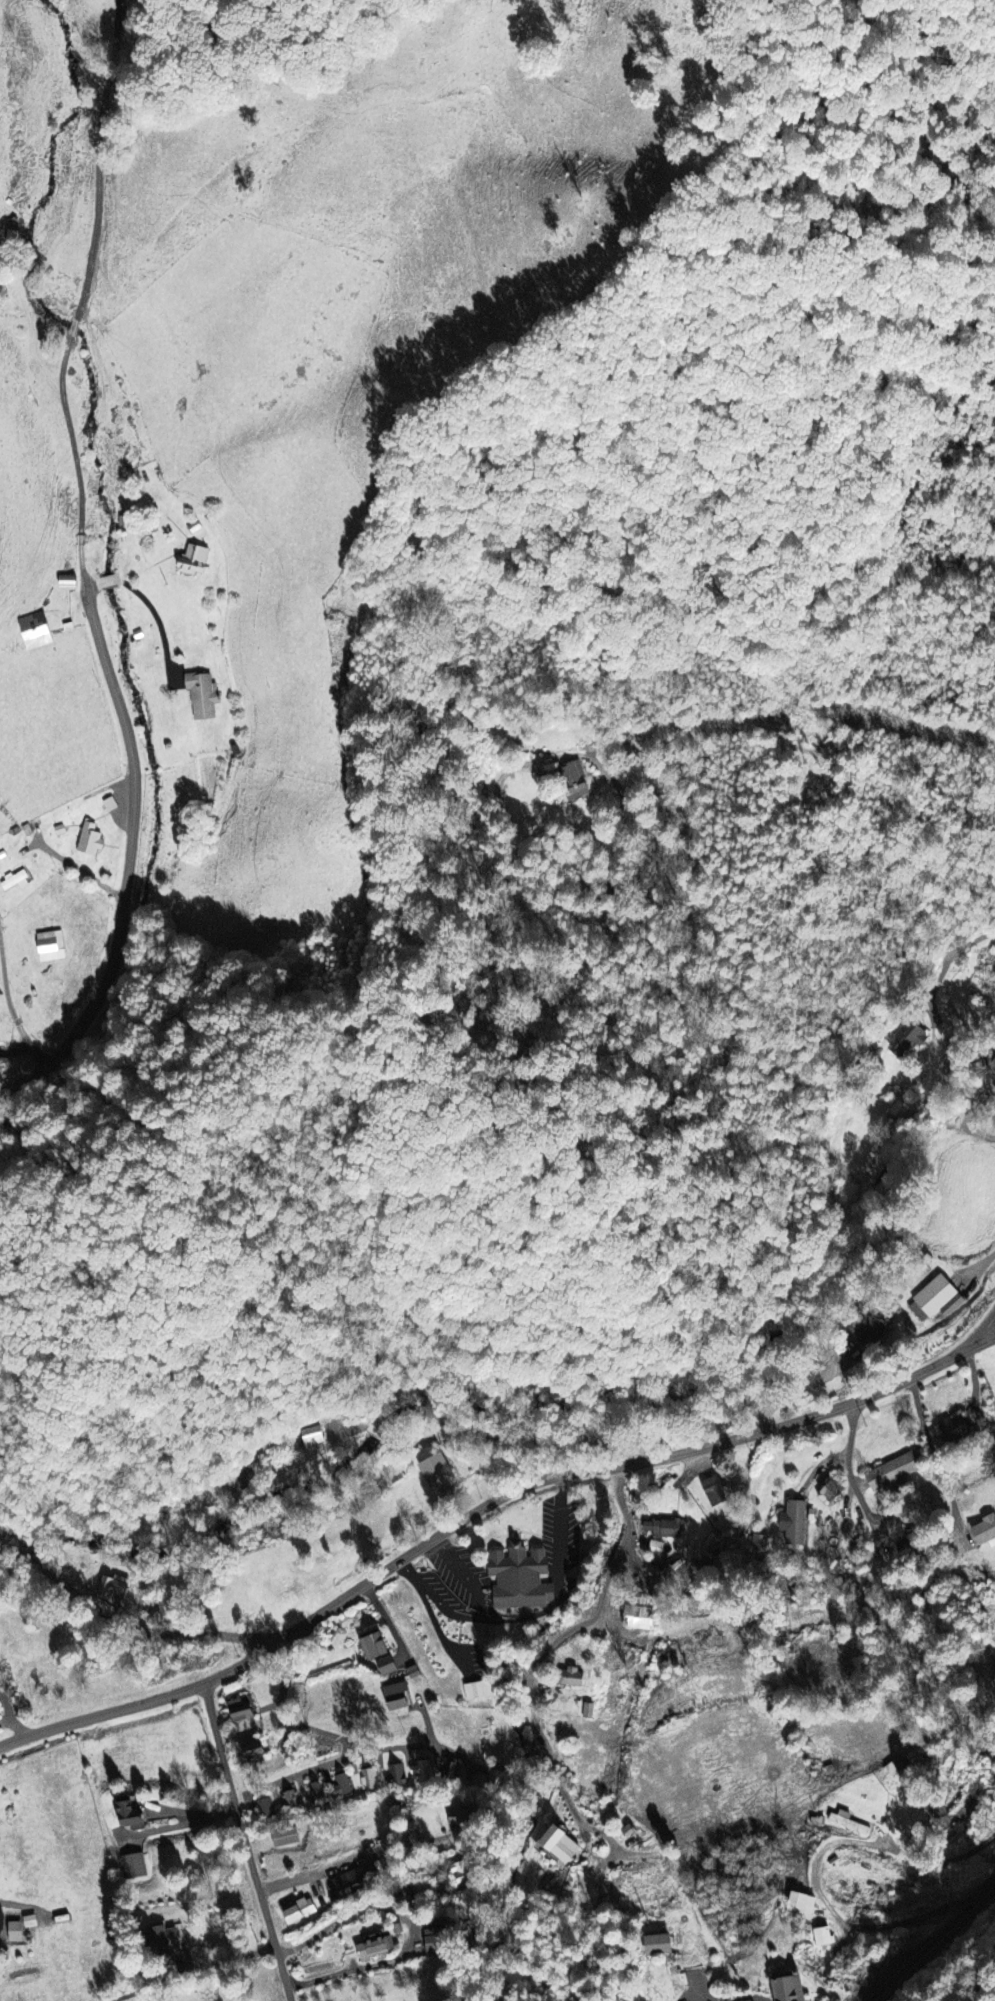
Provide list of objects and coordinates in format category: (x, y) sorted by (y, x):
building: (196, 561)
road: (81, 571)
road: (286, 610)
building: (37, 632)
building: (204, 697)
building: (576, 781)
road: (573, 790)
building: (112, 805)
building: (92, 841)
building: (17, 882)
building: (52, 947)
road: (795, 970)
road: (11, 1007)
building: (907, 1038)
building: (934, 1299)
building: (872, 1331)
road: (988, 1333)
building: (956, 1429)
building: (313, 1437)
road: (529, 1442)
road: (850, 1444)
road: (936, 1454)
building: (438, 1472)
building: (894, 1472)
road: (468, 1489)
building: (718, 1490)
building: (833, 1492)
building: (796, 1523)
building: (664, 1529)
building: (985, 1531)
building: (657, 1549)
building: (520, 1576)
building: (115, 1588)
road: (110, 1601)
building: (641, 1618)
road: (559, 1620)
building: (712, 1640)
building: (376, 1646)
building: (0, 1665)
building: (388, 1666)
road: (275, 1677)
building: (575, 1678)
building: (478, 1691)
road: (353, 1695)
building: (398, 1697)
building: (242, 1711)
building: (590, 1711)
road: (15, 1725)
building: (254, 1751)
building: (899, 1767)
building: (426, 1771)
building: (397, 1774)
building: (370, 1779)
building: (343, 1786)
building: (318, 1792)
road: (310, 1796)
building: (291, 1800)
building: (131, 1817)
building: (848, 1823)
road: (174, 1825)
building: (286, 1838)
road: (248, 1843)
building: (562, 1845)
road: (350, 1859)
road: (818, 1859)
building: (134, 1867)
building: (464, 1875)
building: (351, 1883)
road: (726, 1900)
building: (802, 1906)
building: (302, 1911)
road: (414, 1926)
building: (16, 1932)
building: (824, 1937)
building: (164, 1938)
road: (934, 1942)
building: (659, 1945)
building: (435, 1946)
building: (377, 1947)
road: (193, 1972)
building: (790, 1989)

